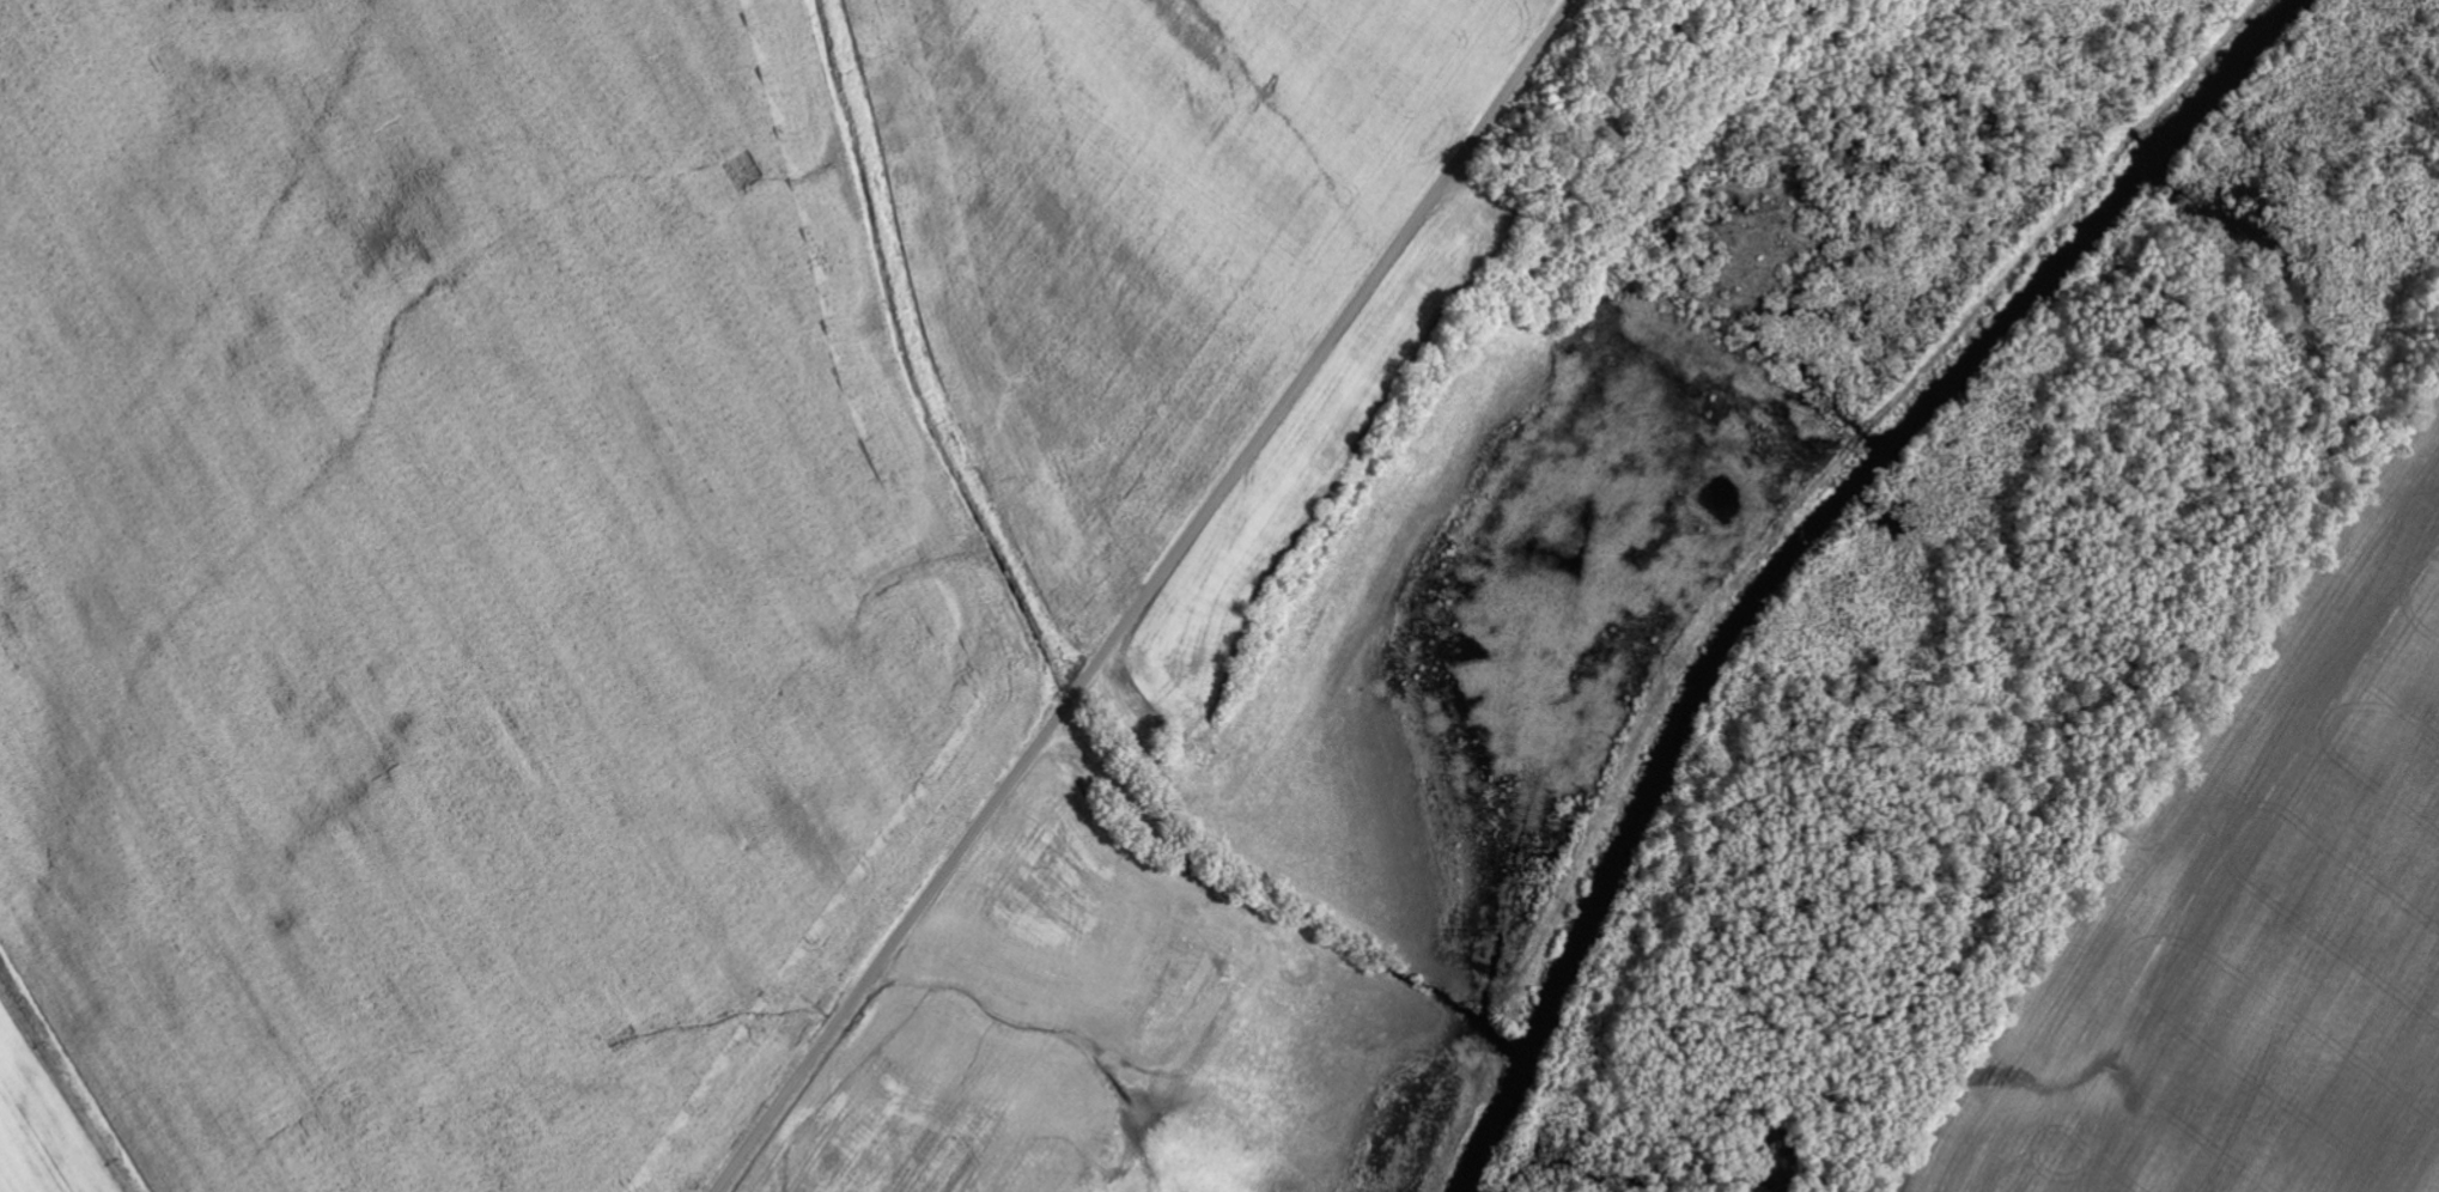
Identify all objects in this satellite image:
road: (1146, 596)

